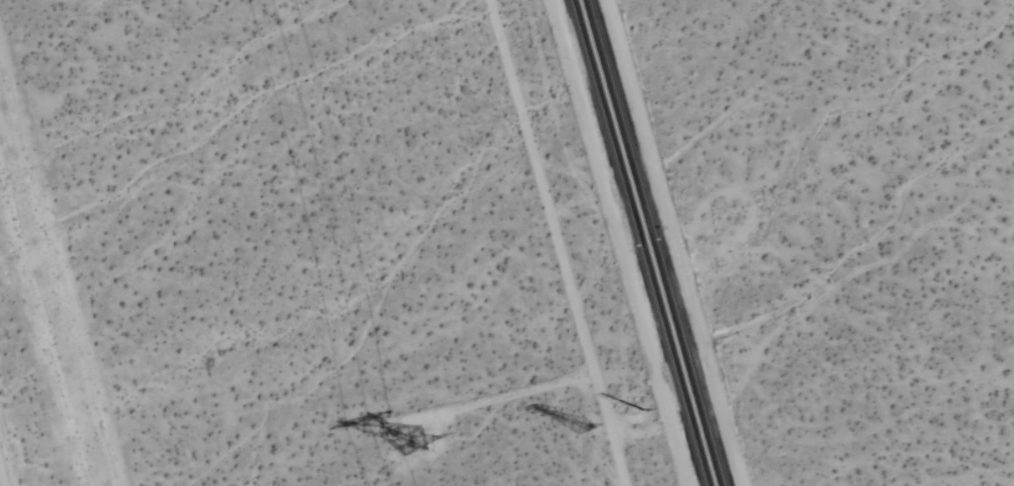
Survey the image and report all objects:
road: (556, 242)
road: (643, 243)
power tower: (643, 410)
power tower: (567, 423)
power tower: (403, 438)
road: (1, 481)

